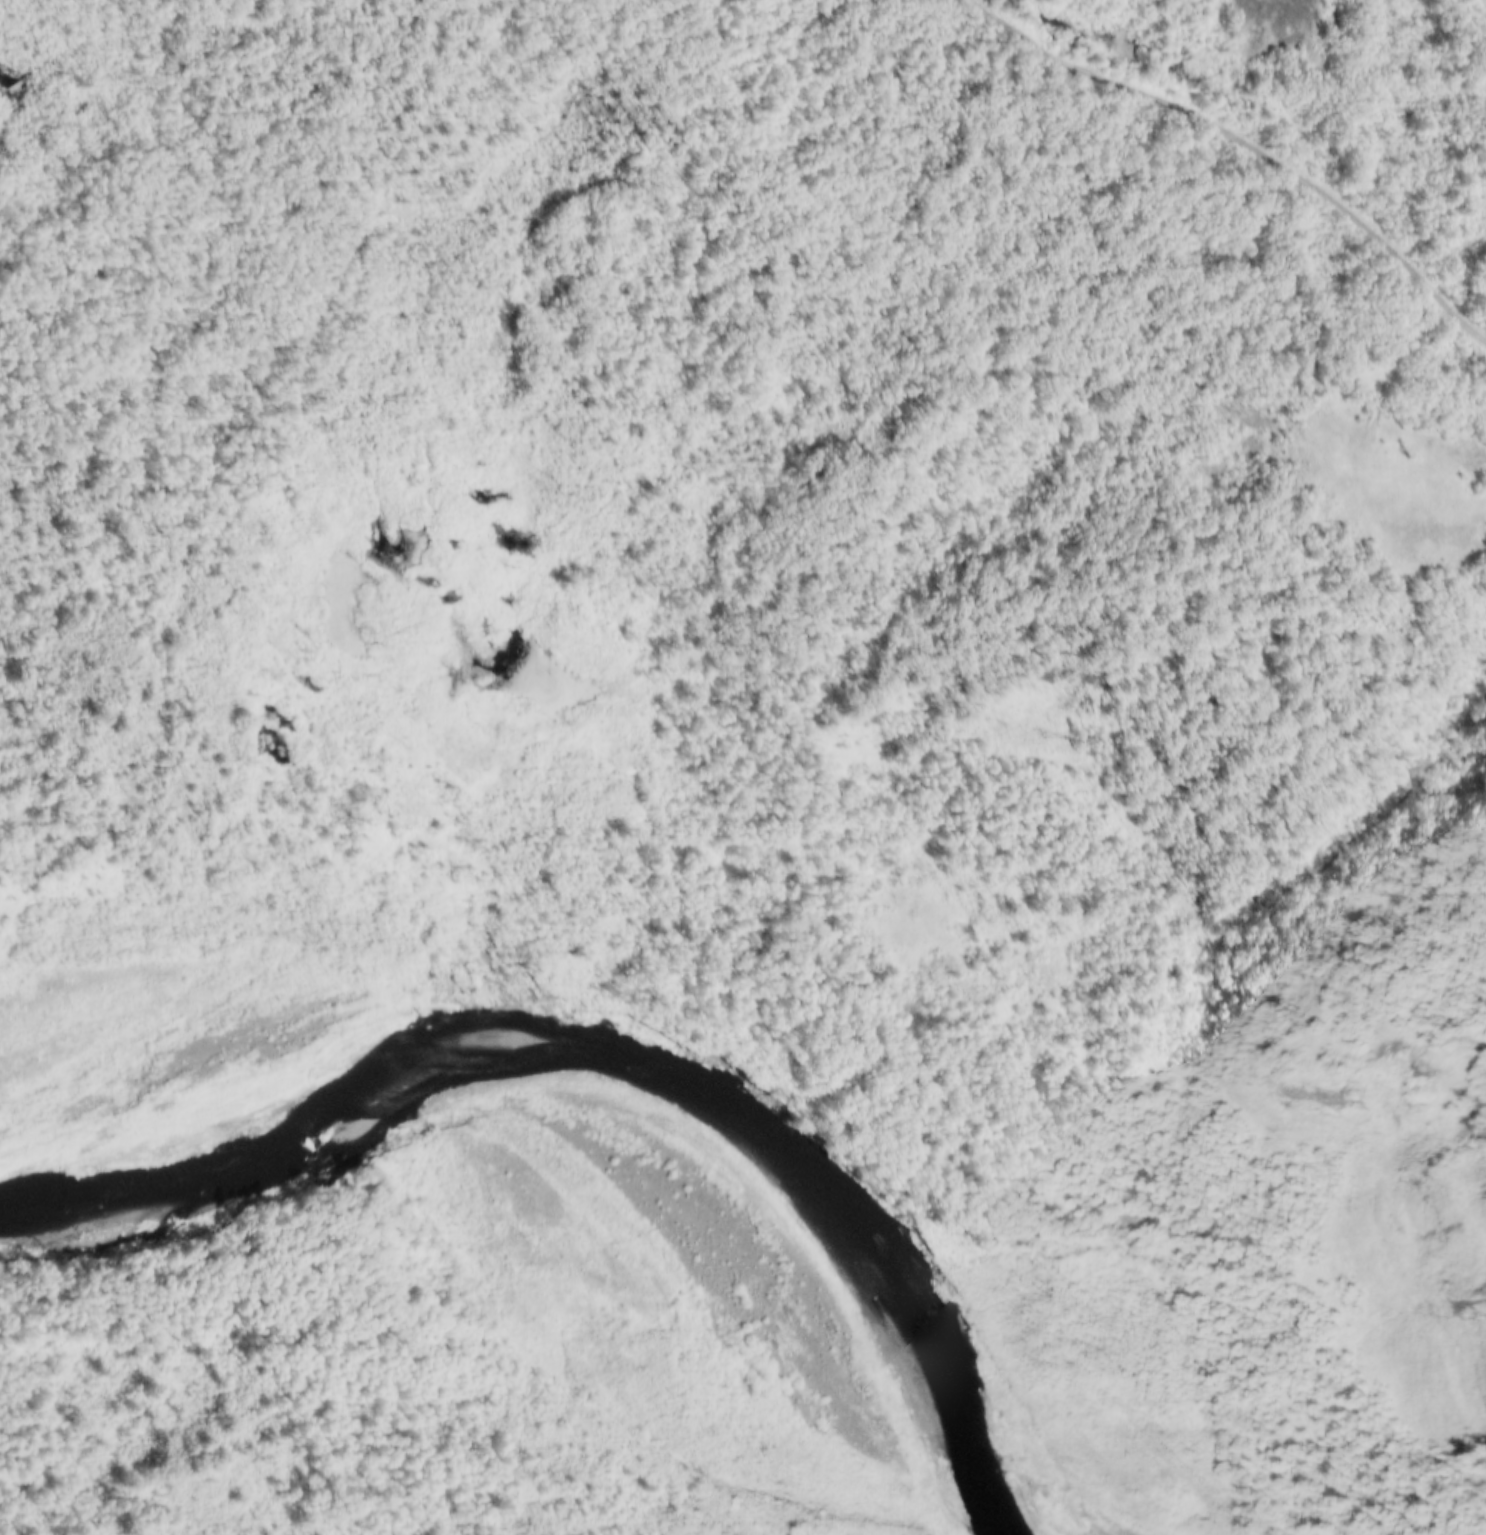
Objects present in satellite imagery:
road: (1253, 136)
road: (1400, 369)

